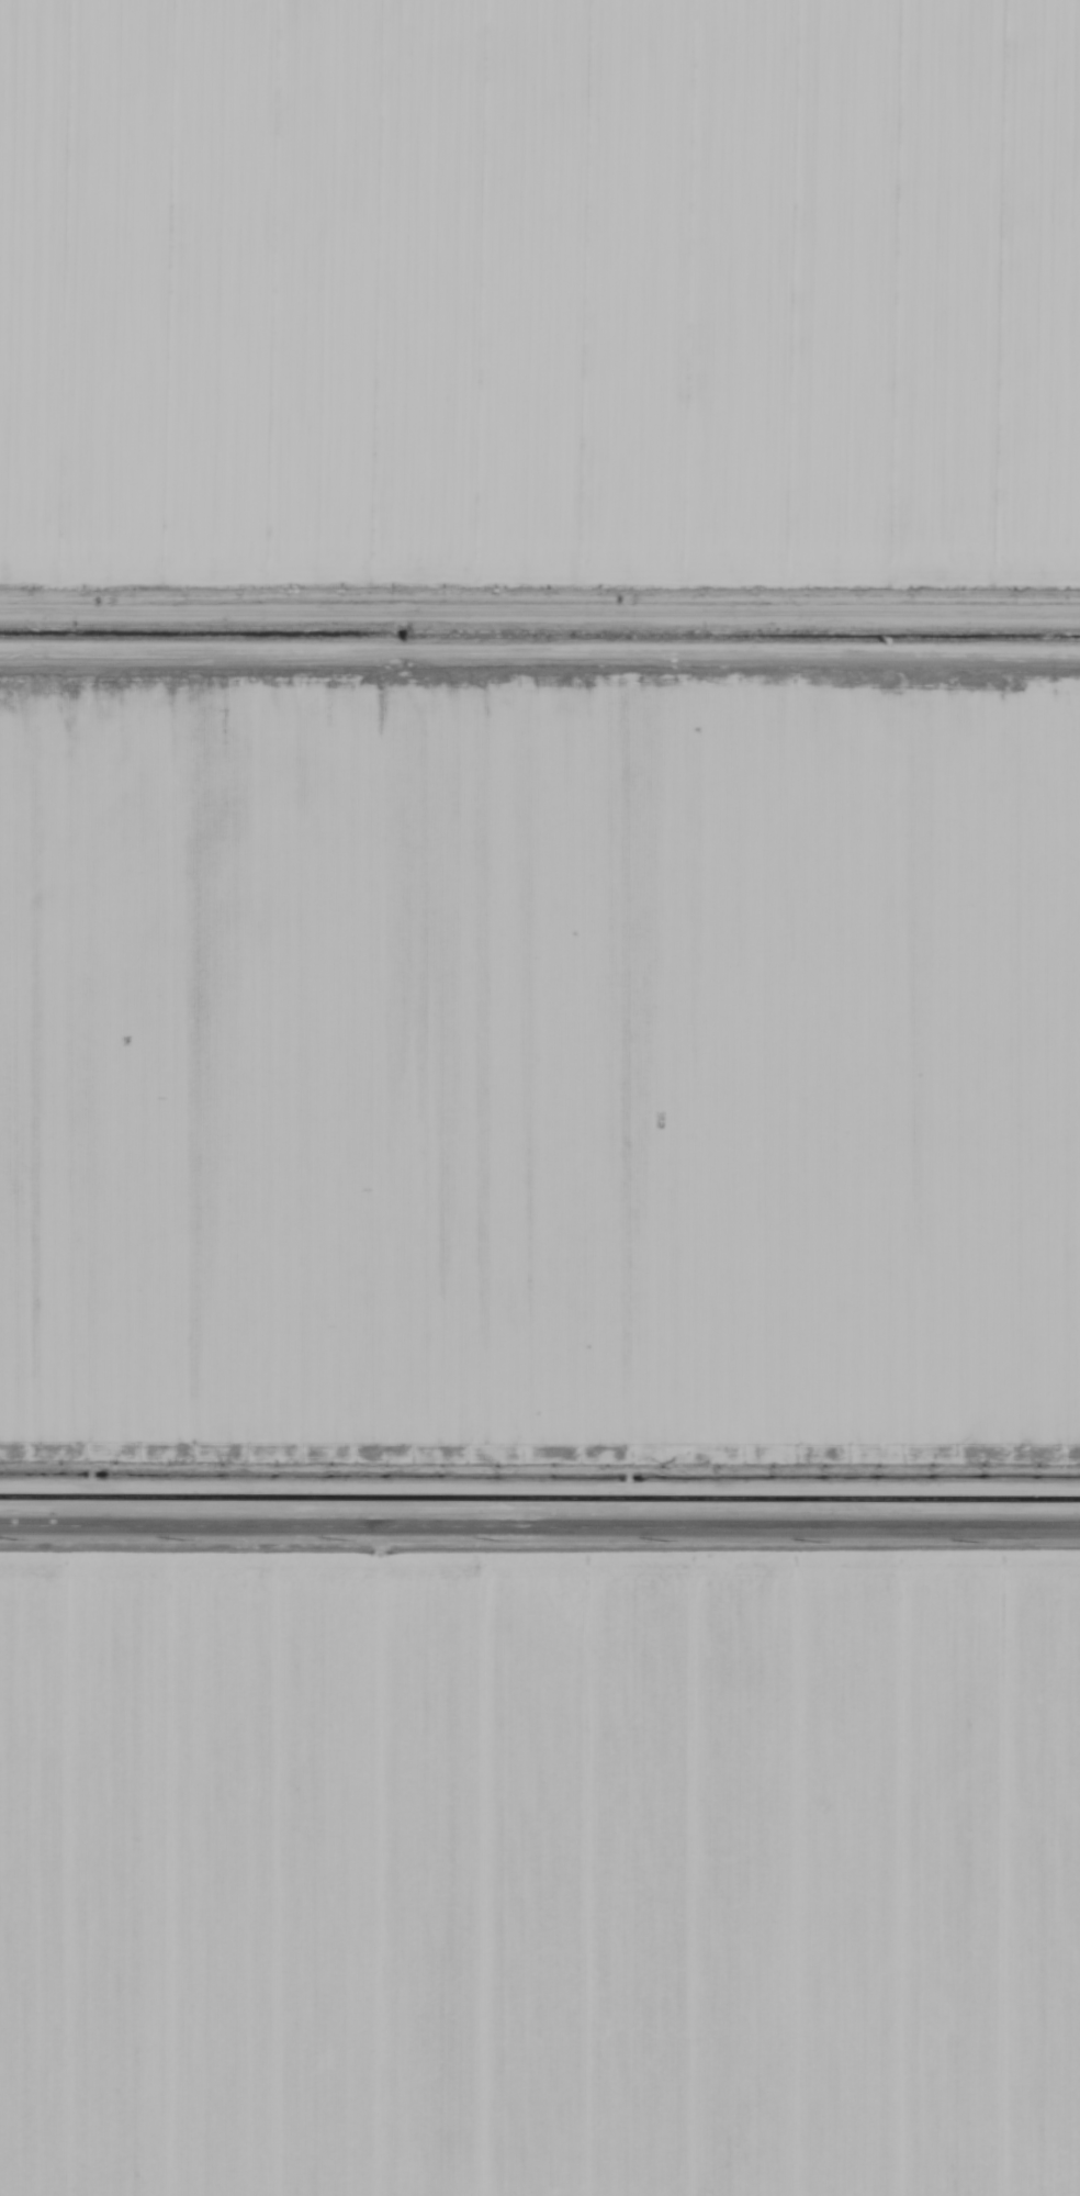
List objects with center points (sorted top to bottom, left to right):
road: (540, 1567)

